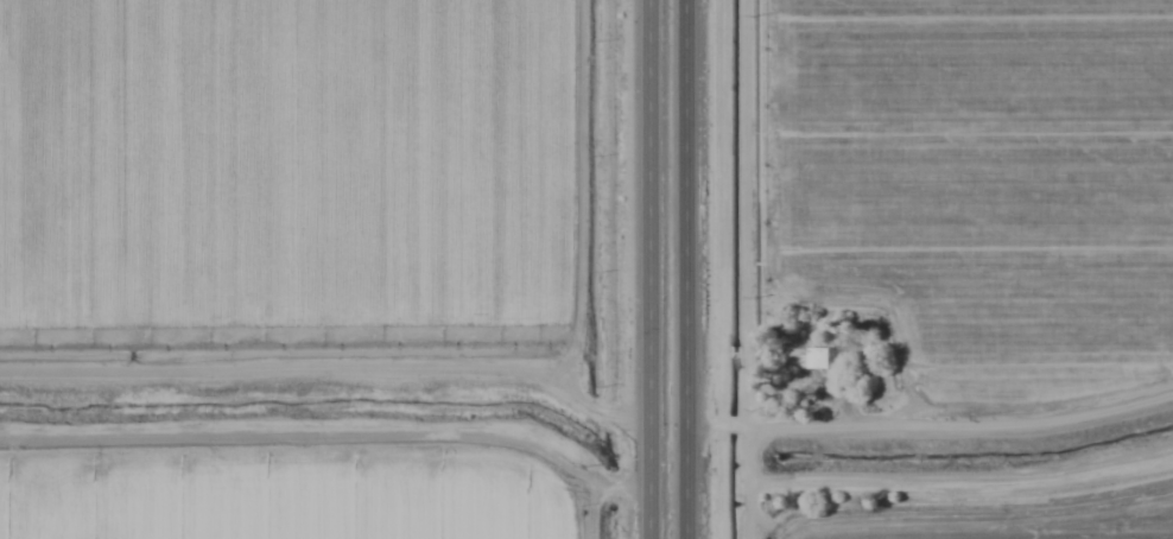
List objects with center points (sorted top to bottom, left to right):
road: (640, 269)
road: (679, 269)
building: (813, 360)

